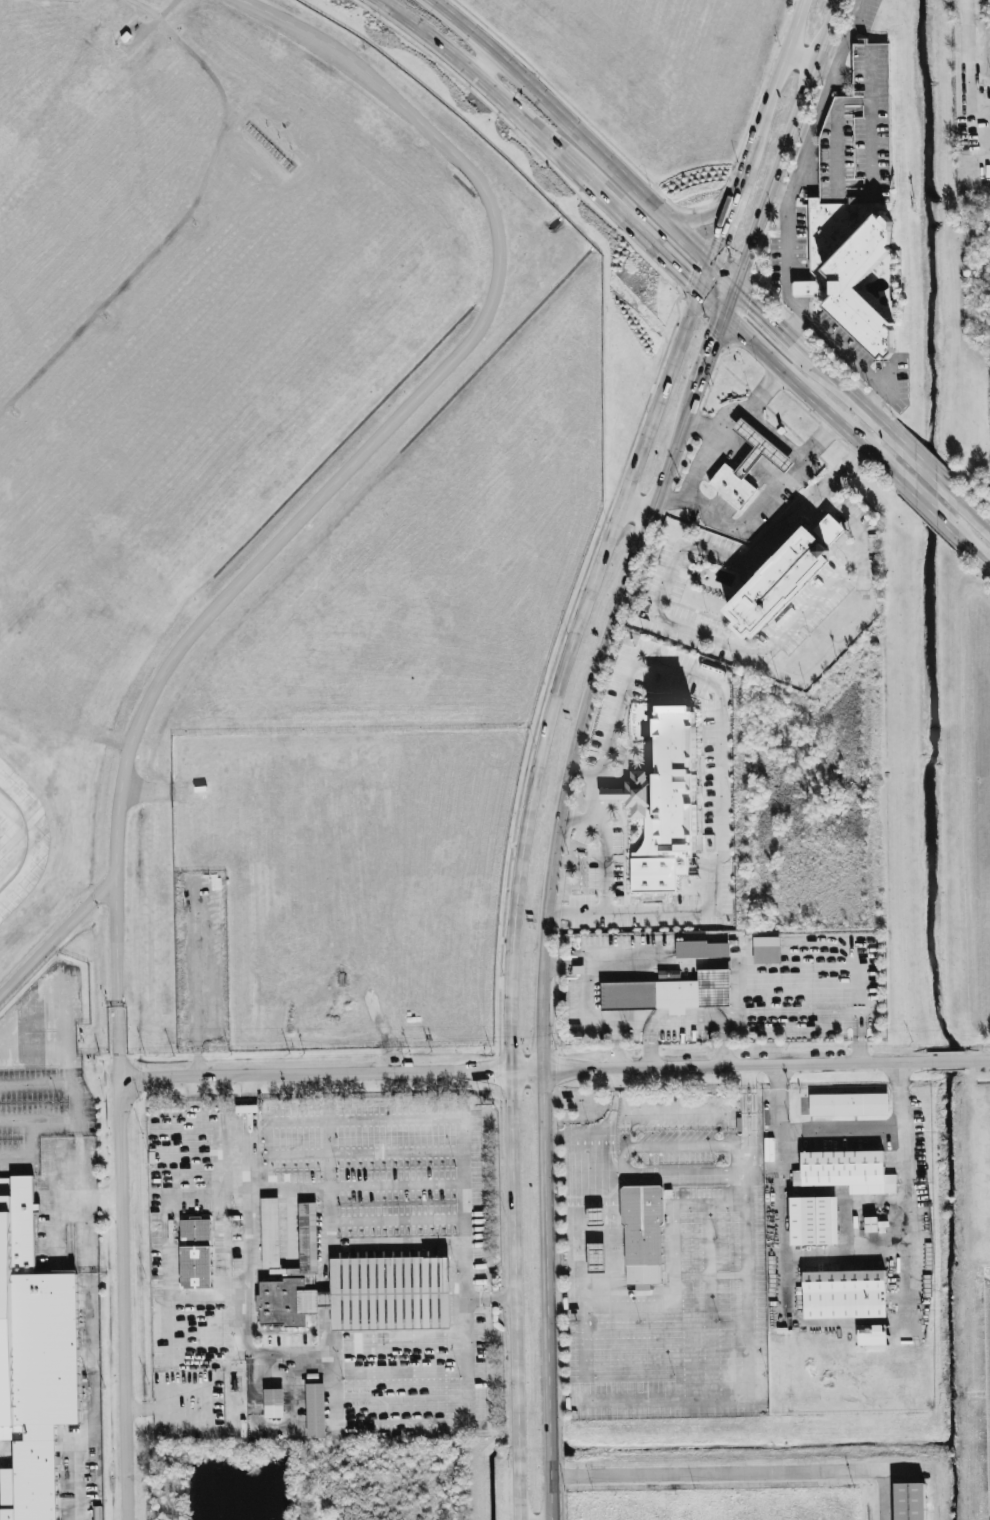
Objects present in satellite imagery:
road: (801, 62)
road: (485, 66)
road: (466, 71)
road: (826, 72)
road: (969, 83)
road: (770, 97)
building: (869, 97)
road: (572, 130)
parking lot: (861, 136)
road: (790, 145)
road: (529, 147)
road: (809, 180)
road: (781, 196)
road: (785, 212)
road: (696, 218)
road: (723, 231)
road: (640, 233)
traffic signals: (720, 241)
building: (851, 267)
traffic signals: (687, 278)
road: (723, 279)
traffic signals: (749, 303)
road: (730, 304)
road: (764, 317)
road: (793, 325)
traffic signals: (715, 342)
road: (705, 368)
road: (845, 391)
road: (761, 393)
road: (806, 399)
road: (875, 403)
road: (716, 424)
road: (735, 449)
road: (358, 458)
road: (926, 468)
building: (744, 473)
parking lot: (987, 485)
road: (766, 502)
road: (926, 506)
road: (635, 511)
road: (973, 513)
road: (827, 532)
road: (857, 533)
airport: (229, 548)
road: (753, 553)
road: (974, 553)
building: (781, 582)
road: (771, 646)
road: (721, 735)
road: (582, 772)
building: (665, 804)
airport taxiway: (18, 807)
airport taxiway: (21, 865)
road: (604, 865)
road: (517, 878)
road: (57, 938)
building: (702, 950)
building: (766, 950)
road: (544, 959)
building: (669, 975)
road: (198, 981)
building: (666, 997)
road: (670, 1024)
road: (61, 1031)
road: (31, 1047)
road: (748, 1067)
road: (311, 1075)
road: (33, 1083)
road: (199, 1098)
building: (848, 1104)
parking lot: (51, 1111)
road: (685, 1111)
road: (242, 1114)
road: (255, 1115)
road: (14, 1124)
road: (79, 1129)
road: (29, 1130)
road: (393, 1151)
road: (288, 1152)
road: (80, 1167)
road: (459, 1167)
building: (842, 1168)
road: (328, 1169)
road: (249, 1170)
road: (577, 1181)
road: (394, 1186)
road: (230, 1187)
road: (100, 1199)
road: (328, 1217)
building: (595, 1217)
road: (394, 1220)
building: (817, 1220)
building: (872, 1225)
building: (642, 1226)
road: (395, 1246)
building: (194, 1254)
building: (596, 1258)
road: (120, 1263)
road: (462, 1270)
building: (350, 1284)
building: (843, 1288)
road: (567, 1306)
road: (851, 1319)
road: (750, 1333)
building: (871, 1337)
road: (584, 1353)
building: (33, 1361)
building: (271, 1403)
building: (314, 1409)
airport apron: (7, 1454)
road: (741, 1478)
building: (910, 1501)
building: (97, 1519)

